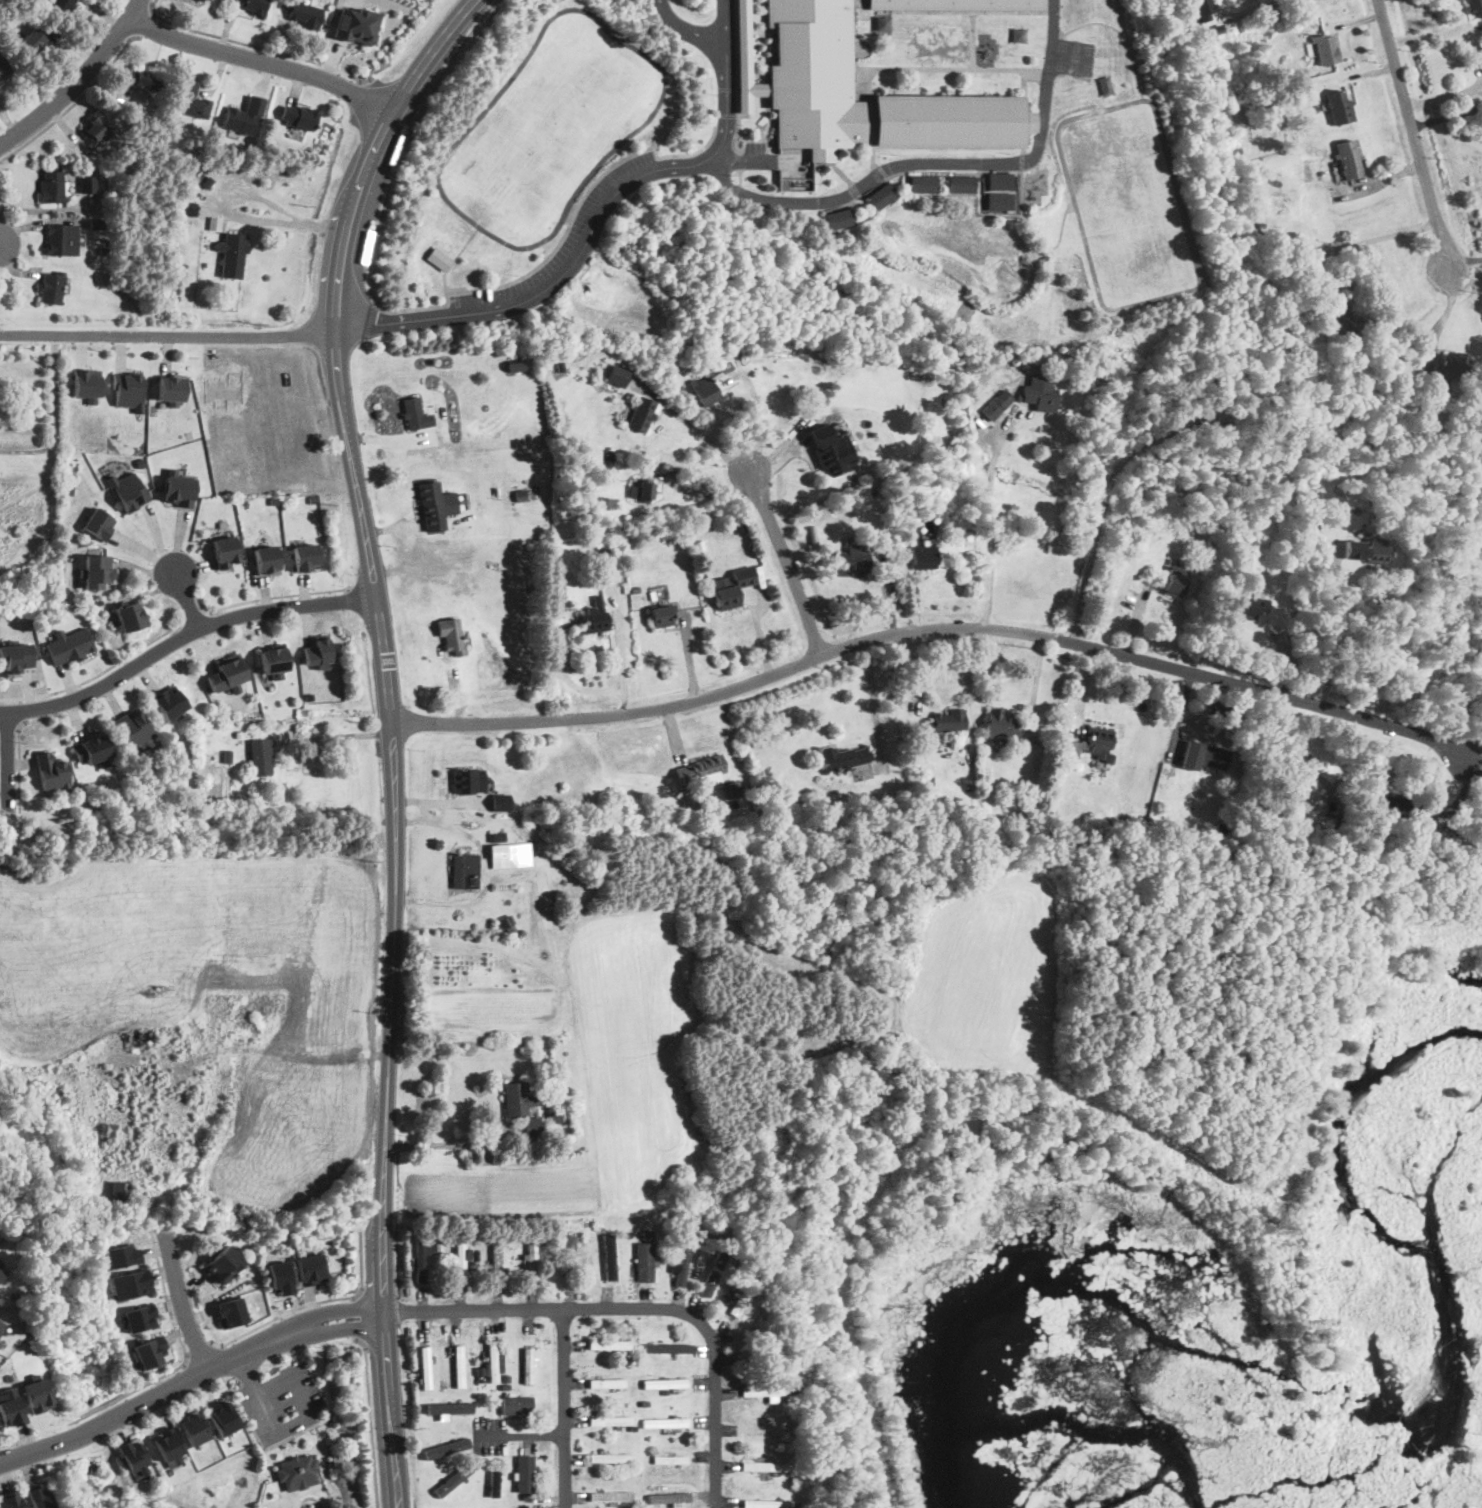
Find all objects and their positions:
building: (200, 0)
building: (205, 0)
building: (1464, 0)
building: (958, 5)
building: (62, 6)
building: (254, 6)
building: (1475, 7)
road: (1258, 8)
building: (1203, 10)
building: (305, 14)
road: (145, 23)
building: (882, 24)
building: (358, 28)
building: (1216, 29)
building: (1177, 32)
building: (1019, 35)
building: (34, 40)
road: (709, 40)
road: (258, 47)
building: (1481, 48)
building: (1326, 50)
road: (265, 61)
building: (747, 61)
building: (4, 69)
building: (810, 75)
building: (143, 80)
road: (80, 82)
building: (1105, 85)
road: (1444, 96)
building: (192, 101)
road: (76, 104)
building: (1340, 108)
building: (245, 116)
building: (300, 118)
road: (1446, 118)
track: (550, 128)
building: (97, 131)
road: (1413, 135)
road: (408, 140)
building: (1349, 160)
road: (938, 163)
building: (998, 181)
building: (208, 182)
building: (781, 184)
building: (88, 185)
building: (923, 185)
building: (962, 185)
building: (52, 188)
building: (881, 197)
building: (998, 201)
building: (187, 208)
road: (6, 210)
building: (838, 219)
building: (215, 223)
building: (99, 224)
road: (563, 234)
road: (1381, 237)
building: (62, 241)
road: (585, 244)
building: (104, 250)
road: (0, 253)
building: (234, 255)
road: (455, 258)
building: (439, 259)
road: (1463, 260)
building: (184, 268)
road: (1465, 278)
building: (52, 288)
road: (1441, 317)
road: (369, 320)
building: (1346, 321)
road: (167, 335)
building: (516, 366)
building: (525, 366)
building: (561, 366)
building: (1453, 367)
building: (1032, 370)
building: (1088, 370)
building: (618, 382)
building: (89, 384)
building: (172, 388)
building: (679, 389)
building: (704, 389)
building: (131, 390)
building: (1041, 396)
building: (998, 404)
building: (412, 413)
building: (641, 413)
building: (1219, 417)
road: (760, 421)
road: (700, 432)
building: (832, 451)
building: (608, 458)
building: (179, 489)
building: (126, 491)
building: (1316, 492)
building: (642, 493)
road: (709, 494)
building: (901, 494)
building: (521, 496)
building: (430, 498)
building: (841, 506)
building: (94, 522)
road: (991, 523)
building: (1191, 535)
building: (700, 547)
building: (1378, 551)
building: (226, 552)
road: (369, 554)
building: (302, 557)
building: (924, 558)
building: (617, 559)
building: (268, 560)
building: (853, 561)
road: (786, 562)
building: (605, 564)
building: (98, 568)
building: (1175, 584)
building: (733, 590)
building: (636, 591)
road: (273, 598)
building: (654, 598)
road: (189, 601)
building: (100, 602)
building: (1245, 608)
road: (194, 615)
building: (131, 616)
building: (663, 616)
building: (596, 618)
road: (930, 628)
building: (1296, 628)
road: (1332, 628)
building: (452, 636)
road: (183, 640)
building: (68, 645)
building: (315, 653)
road: (620, 654)
building: (16, 657)
building: (274, 658)
road: (99, 673)
building: (225, 673)
building: (167, 701)
road: (27, 709)
road: (877, 718)
building: (948, 722)
building: (1000, 724)
building: (136, 730)
road: (335, 736)
building: (933, 740)
building: (1100, 741)
building: (94, 747)
building: (1071, 749)
building: (228, 756)
road: (1473, 756)
building: (261, 757)
building: (1214, 757)
road: (9, 758)
building: (844, 759)
road: (18, 765)
building: (700, 767)
building: (53, 772)
building: (468, 782)
building: (730, 794)
building: (1278, 802)
building: (502, 803)
building: (242, 805)
building: (953, 805)
building: (1308, 806)
building: (1393, 808)
building: (894, 812)
building: (1026, 818)
building: (1220, 828)
building: (1058, 830)
building: (497, 838)
building: (511, 856)
building: (466, 872)
building: (507, 924)
building: (798, 939)
building: (139, 1041)
building: (516, 1099)
building: (560, 1117)
building: (533, 1127)
road: (448, 1144)
building: (120, 1193)
building: (628, 1234)
building: (649, 1235)
building: (620, 1238)
building: (541, 1240)
building: (581, 1241)
building: (742, 1253)
building: (121, 1256)
building: (610, 1256)
building: (421, 1258)
building: (532, 1259)
building: (571, 1259)
building: (686, 1260)
building: (460, 1261)
building: (497, 1263)
building: (645, 1263)
building: (223, 1264)
building: (748, 1266)
building: (311, 1269)
building: (1, 1276)
building: (279, 1276)
building: (712, 1276)
building: (131, 1284)
building: (742, 1297)
road: (181, 1300)
road: (312, 1304)
road: (639, 1307)
building: (229, 1312)
road: (363, 1317)
building: (137, 1318)
building: (1, 1325)
road: (385, 1327)
building: (609, 1345)
building: (668, 1348)
road: (200, 1351)
building: (151, 1352)
building: (635, 1360)
building: (494, 1362)
building: (426, 1364)
building: (529, 1365)
building: (459, 1366)
road: (245, 1367)
building: (481, 1372)
road: (155, 1378)
road: (188, 1378)
building: (481, 1378)
building: (505, 1379)
building: (518, 1381)
building: (451, 1384)
building: (608, 1384)
building: (665, 1384)
building: (505, 1388)
building: (764, 1392)
building: (37, 1394)
parking lot: (282, 1403)
building: (645, 1403)
building: (518, 1406)
building: (11, 1407)
building: (450, 1407)
road: (563, 1407)
building: (223, 1417)
road: (372, 1420)
building: (612, 1420)
building: (776, 1420)
building: (666, 1424)
road: (292, 1427)
building: (192, 1428)
building: (763, 1429)
building: (791, 1434)
road: (522, 1436)
road: (283, 1441)
building: (167, 1444)
building: (447, 1448)
building: (133, 1455)
building: (611, 1458)
building: (670, 1460)
building: (454, 1465)
road: (323, 1467)
building: (765, 1467)
building: (638, 1471)
building: (298, 1472)
building: (530, 1479)
building: (452, 1480)
building: (493, 1482)
building: (652, 1488)
building: (39, 1497)
building: (611, 1497)
building: (669, 1498)
building: (11, 1500)
building: (771, 1504)

